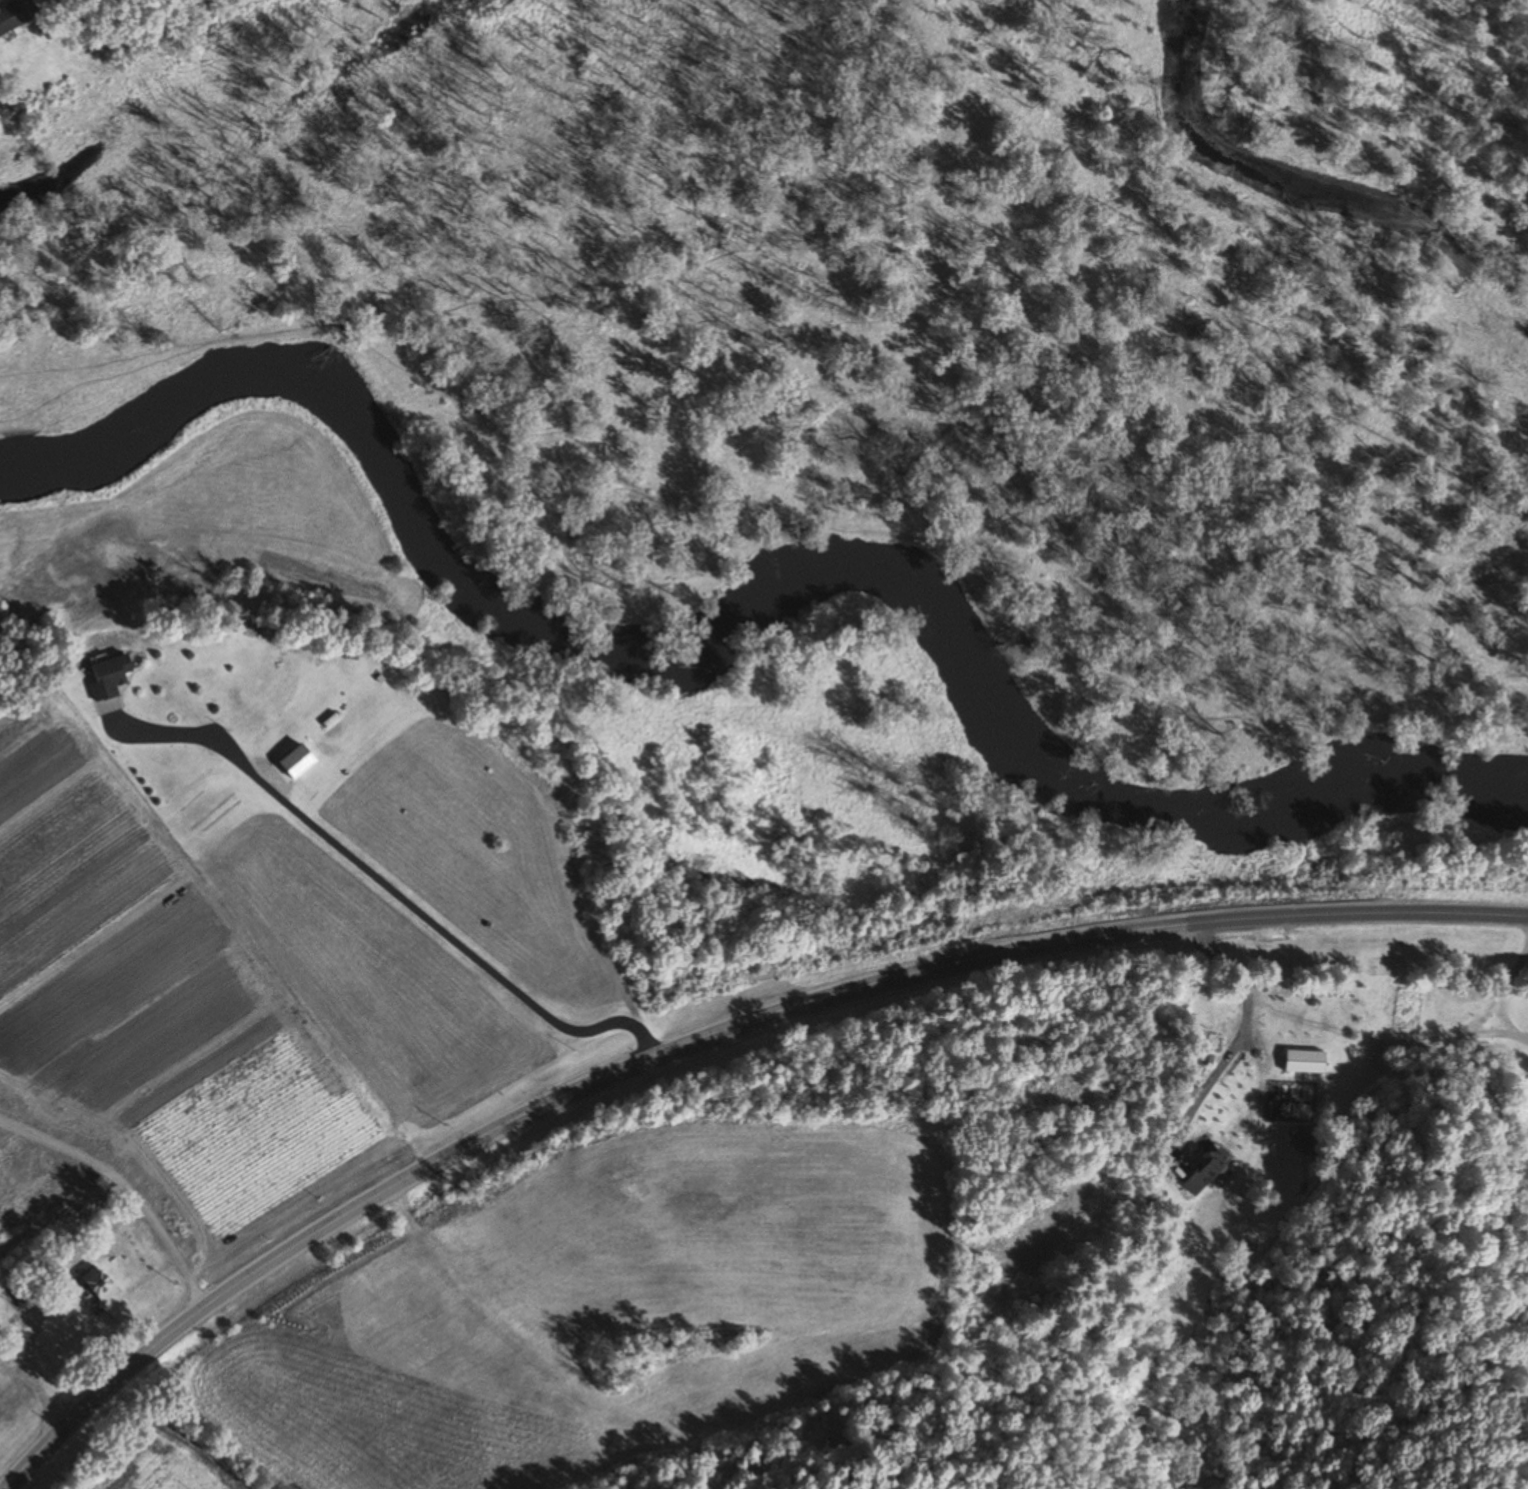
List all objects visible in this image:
building: (15, 13)
river: (749, 609)
building: (107, 677)
building: (295, 762)
road: (1240, 1036)
road: (703, 1037)
building: (1303, 1063)
building: (1204, 1172)
road: (126, 1192)
building: (97, 1286)
road: (29, 1375)

